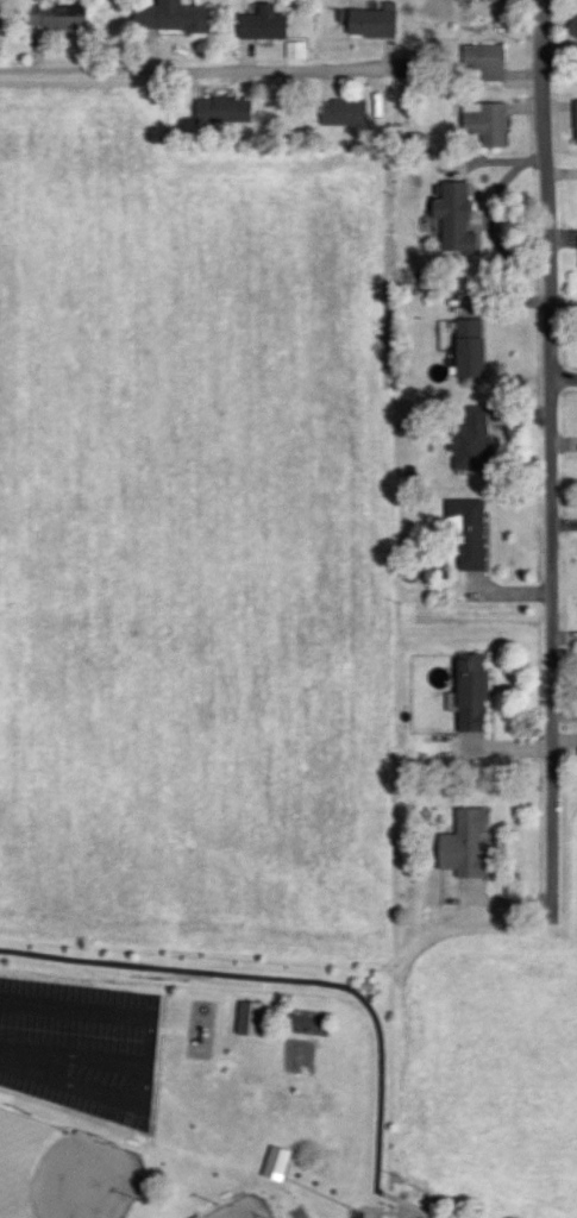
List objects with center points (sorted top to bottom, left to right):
building: (500, 0)
building: (0, 14)
building: (55, 17)
building: (170, 17)
building: (369, 21)
building: (261, 24)
building: (572, 26)
building: (295, 50)
building: (483, 62)
road: (195, 73)
building: (221, 109)
building: (343, 113)
building: (485, 123)
building: (575, 124)
building: (453, 219)
building: (468, 347)
road: (566, 384)
building: (470, 441)
road: (554, 459)
building: (466, 530)
crop: (192, 539)
building: (470, 692)
building: (464, 845)
road: (491, 903)
road: (291, 979)
building: (249, 1017)
park: (178, 1063)
crop: (490, 1067)
building: (275, 1162)
park: (62, 1173)
road: (389, 1197)
park: (244, 1208)
road: (401, 1210)
road: (416, 1210)
road: (387, 1213)
road: (371, 1216)

